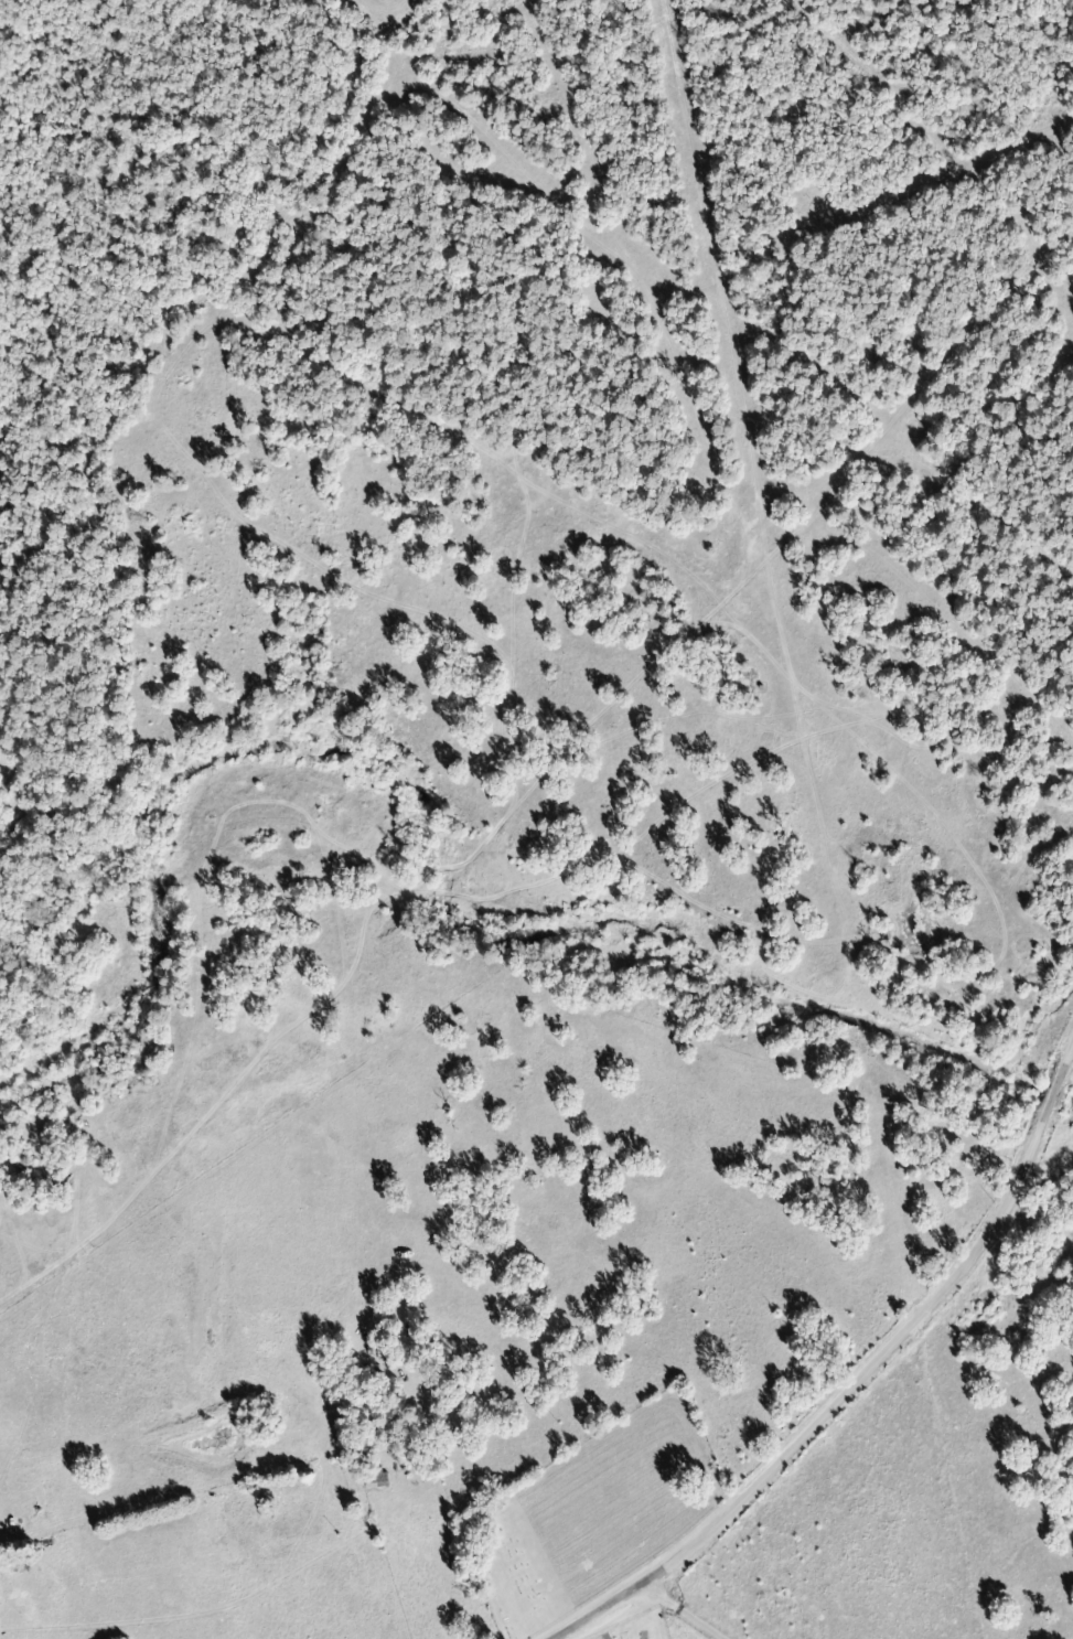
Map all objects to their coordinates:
road: (857, 1382)
park: (639, 1627)

